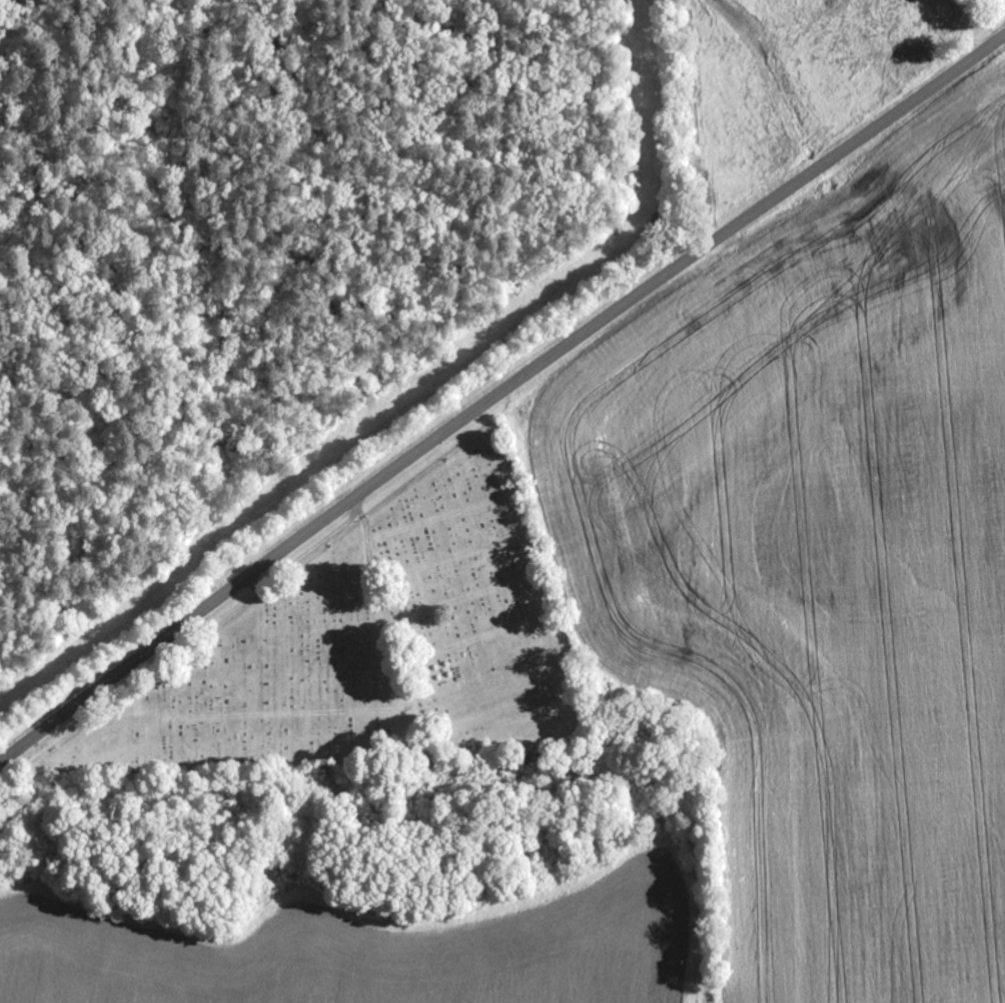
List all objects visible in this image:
road: (855, 143)
road: (348, 503)
park: (371, 655)

